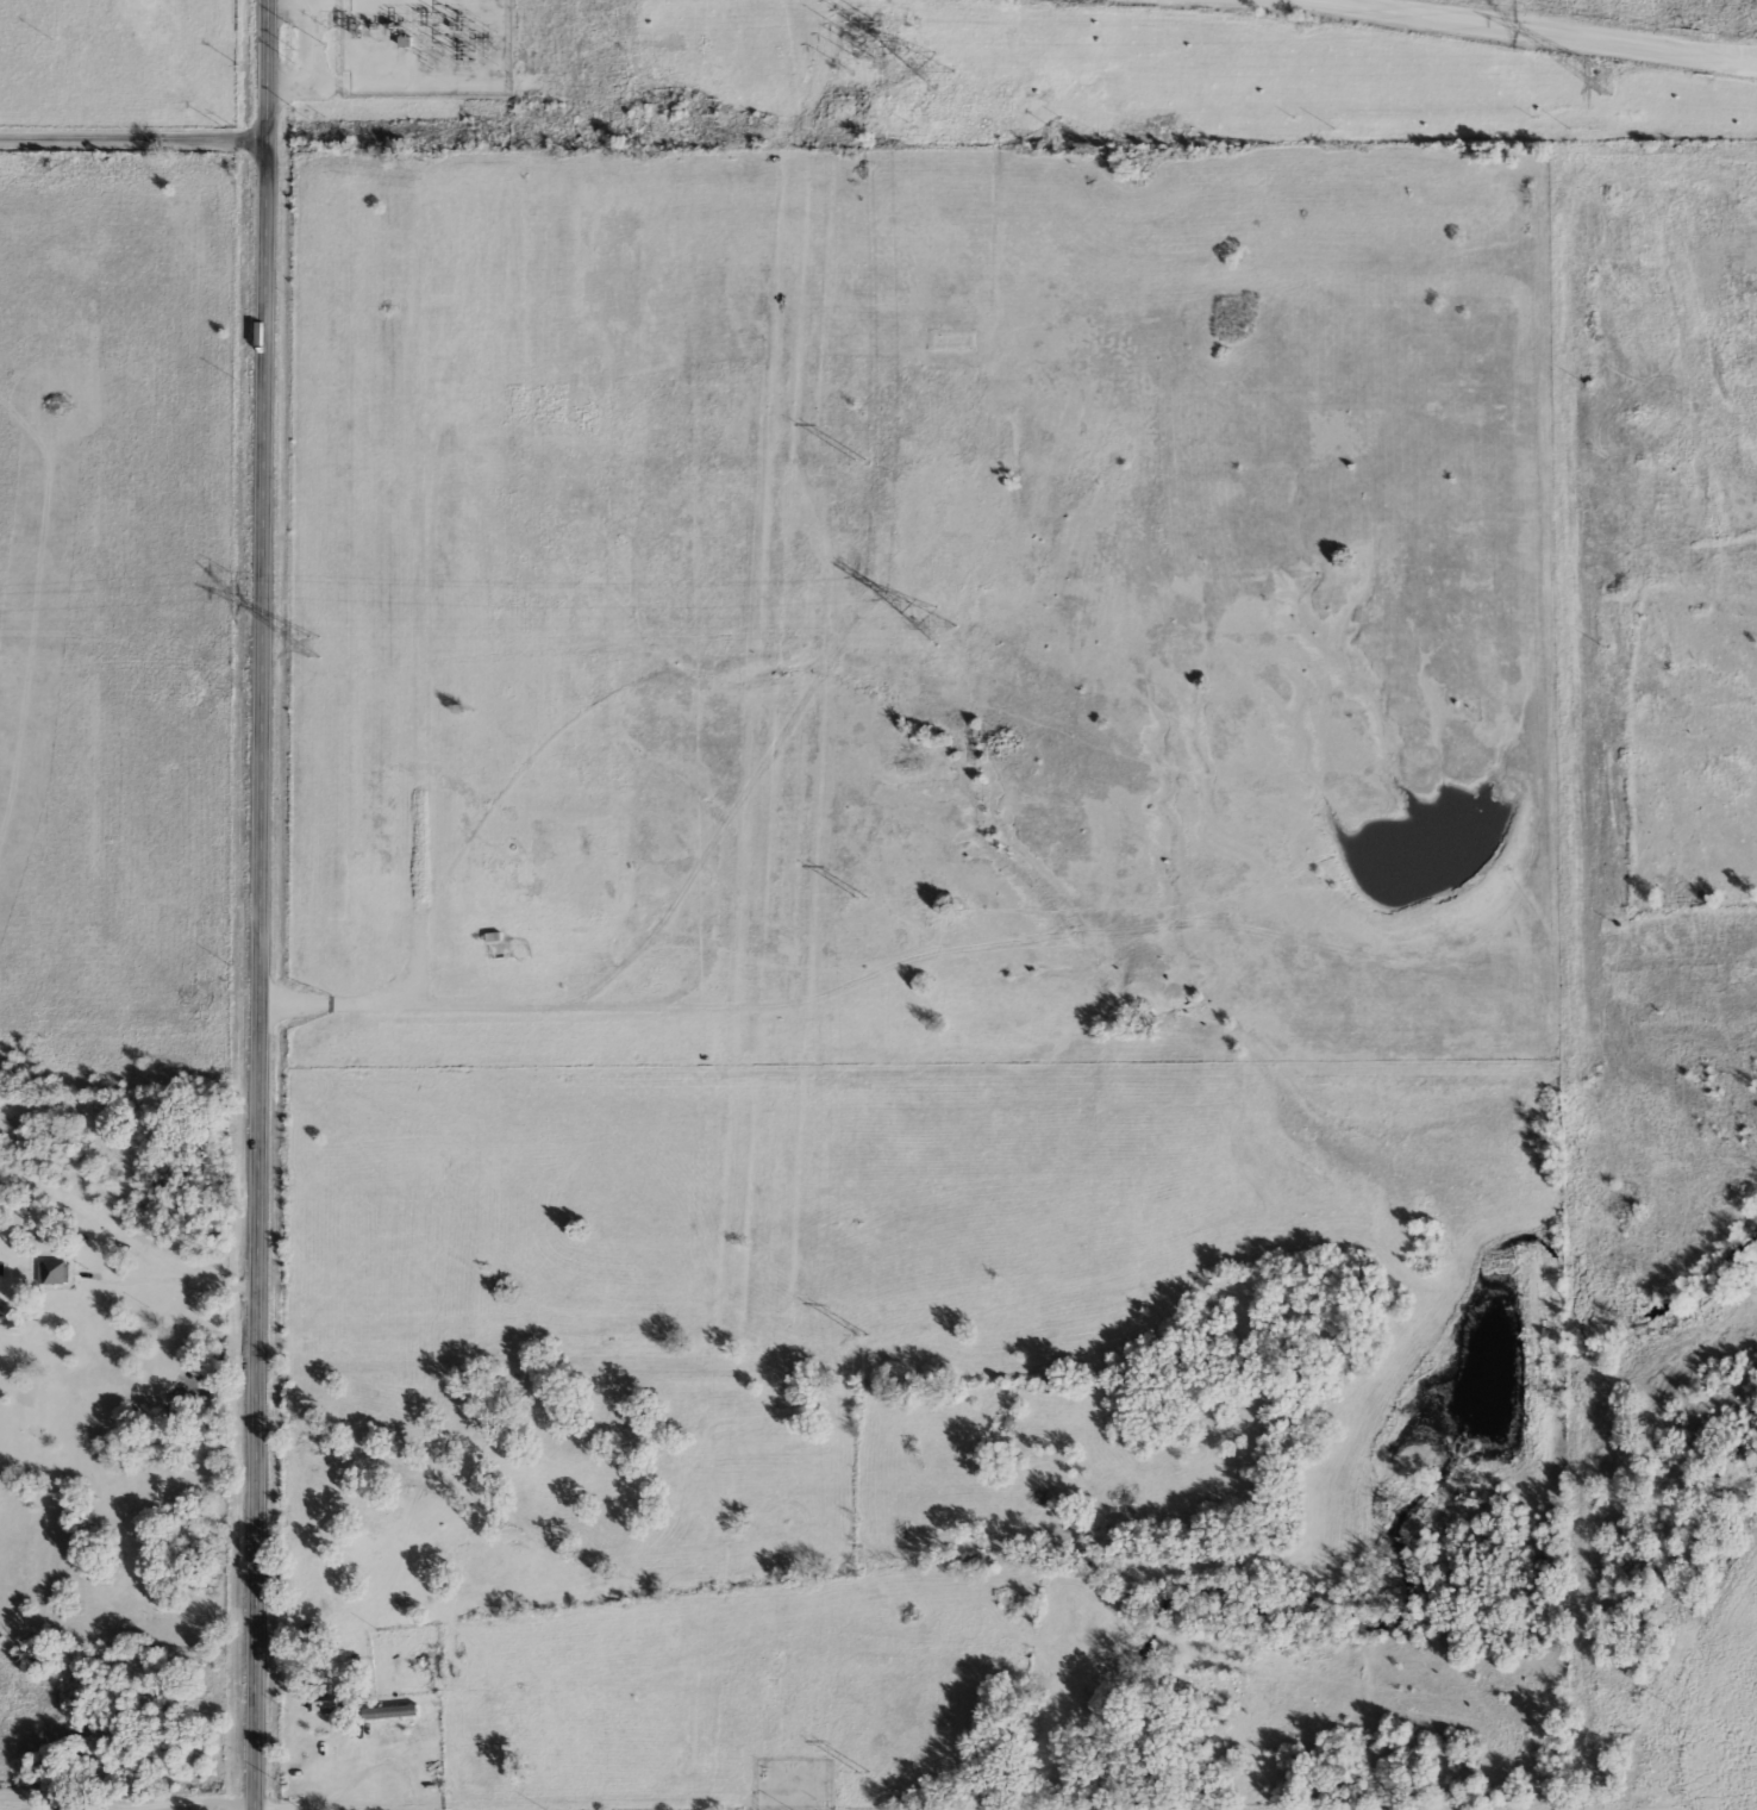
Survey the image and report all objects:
road: (1520, 29)
building: (404, 40)
power substation: (426, 46)
power tower: (932, 69)
power tower: (1603, 81)
road: (130, 137)
building: (1734, 235)
building: (509, 337)
building: (1755, 377)
power tower: (932, 622)
power tower: (314, 643)
road: (257, 904)
road: (414, 976)
building: (52, 1271)
road: (126, 1278)
road: (129, 1627)
building: (320, 1699)
building: (388, 1710)
road: (125, 1806)

